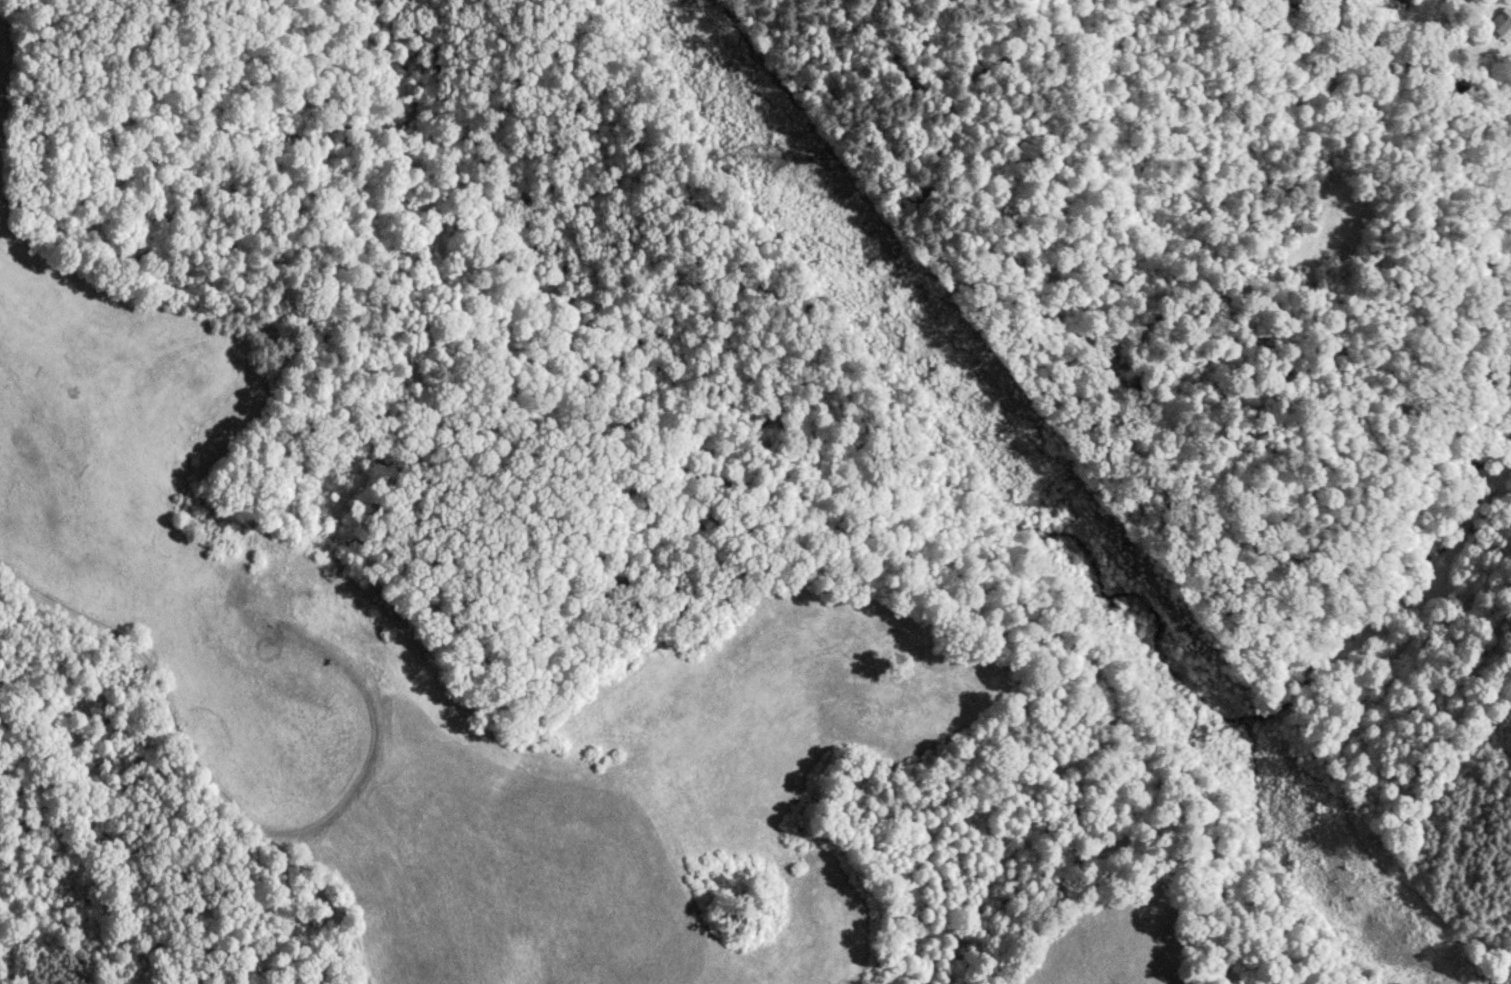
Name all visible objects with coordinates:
road: (190, 765)

